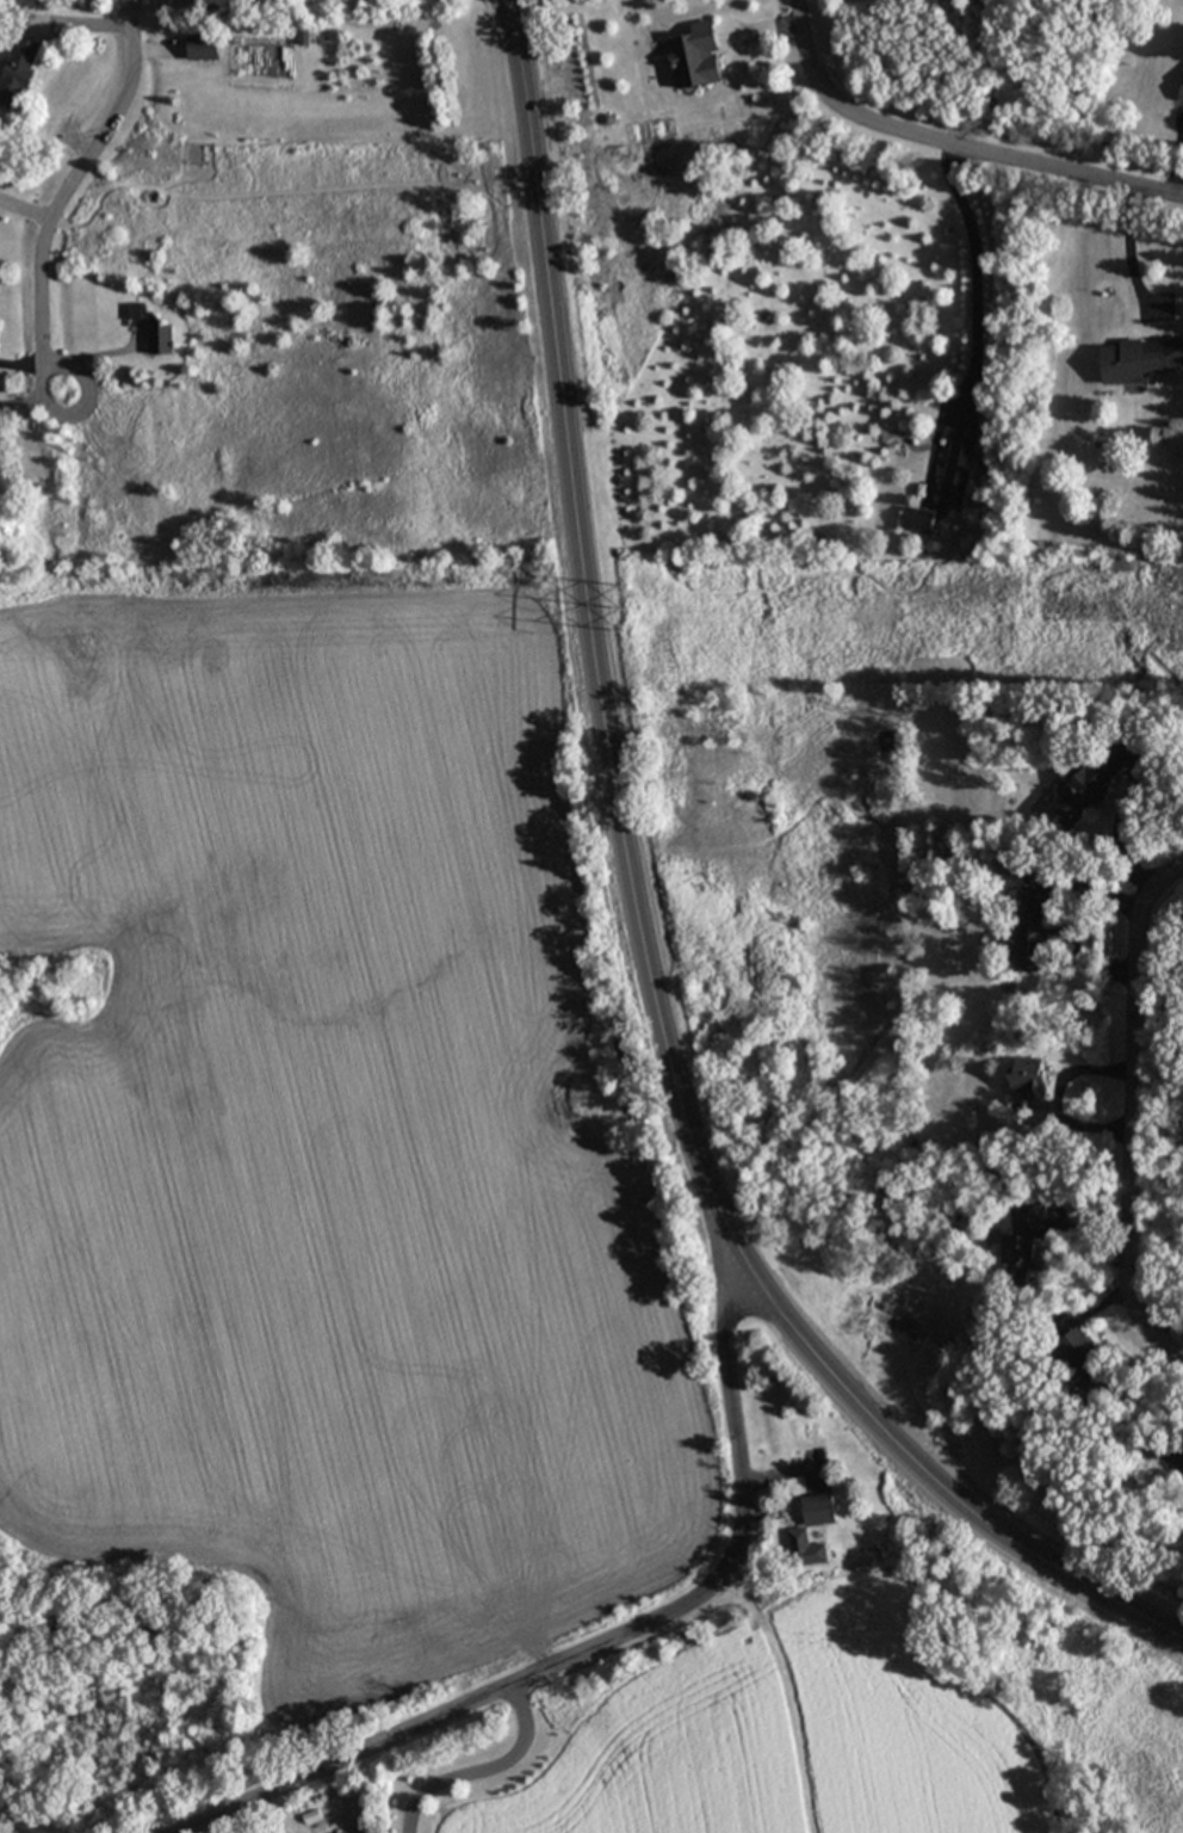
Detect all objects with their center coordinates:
building: (202, 47)
building: (696, 56)
building: (17, 72)
building: (1182, 95)
road: (944, 154)
road: (74, 175)
road: (1133, 271)
road: (974, 284)
building: (136, 311)
building: (160, 338)
building: (1129, 359)
road: (20, 396)
road: (80, 413)
building: (955, 469)
building: (917, 520)
power tower: (634, 616)
road: (591, 627)
building: (1094, 779)
building: (1029, 931)
building: (1028, 1078)
road: (1134, 1121)
building: (1024, 1246)
building: (1082, 1364)
road: (928, 1474)
building: (1182, 1476)
building: (798, 1536)
road: (643, 1643)
road: (475, 1775)

